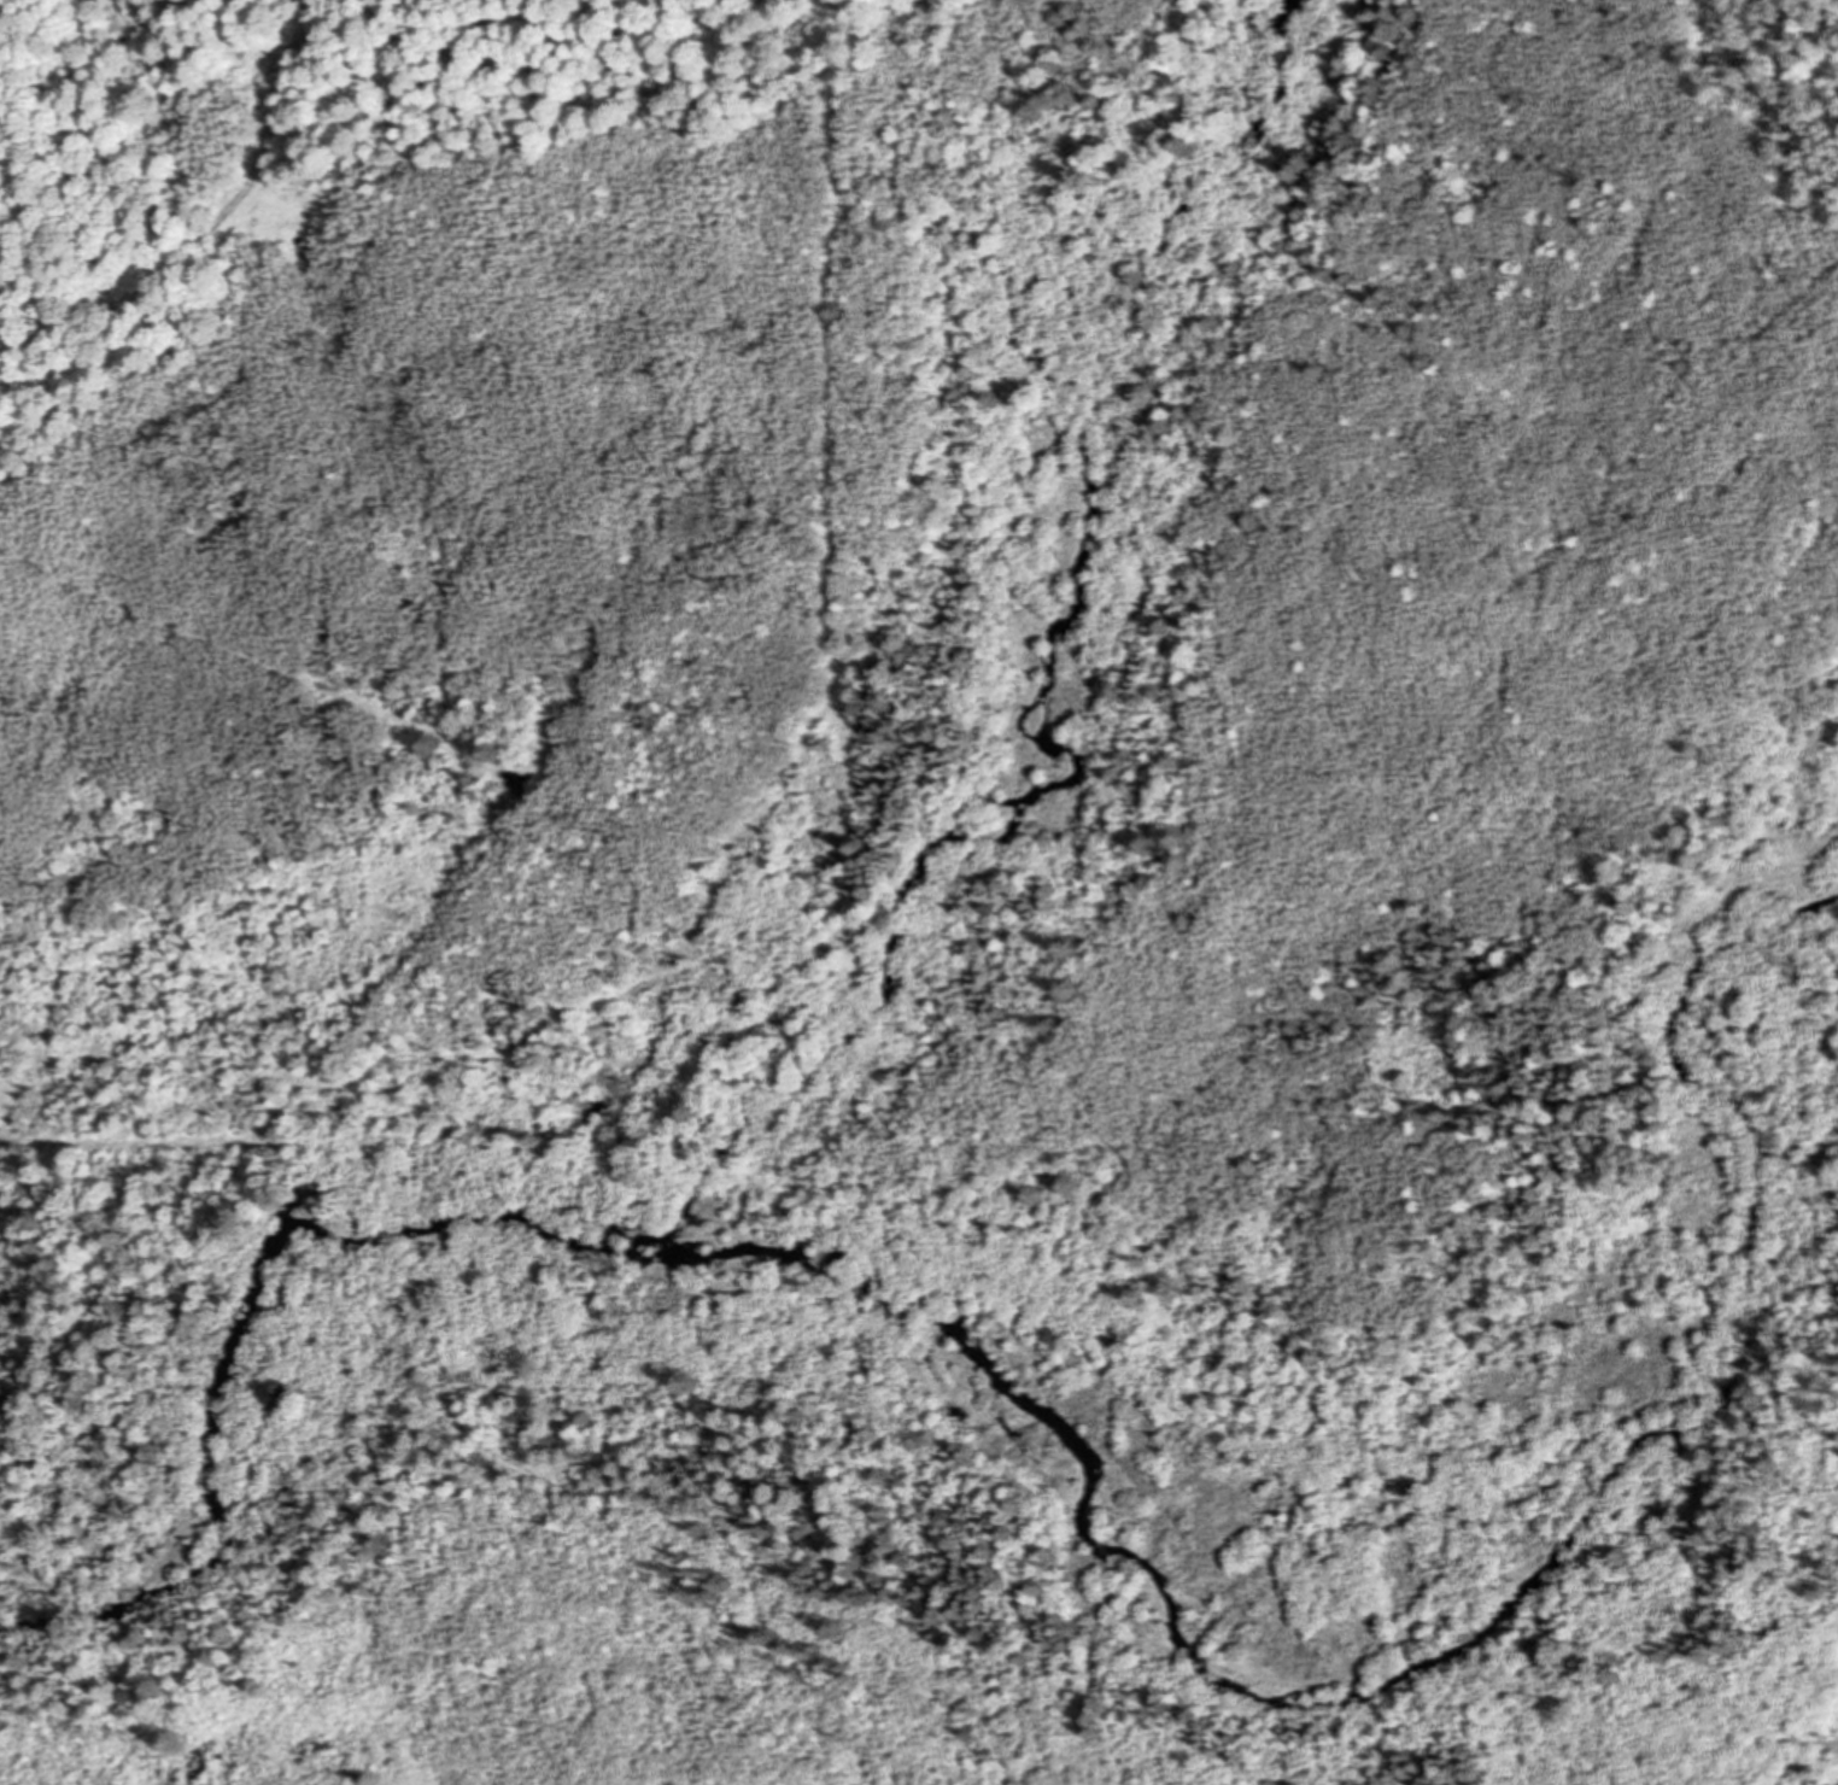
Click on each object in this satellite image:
road: (210, 224)
river: (240, 1313)
river: (1066, 1452)
river: (1504, 1703)

